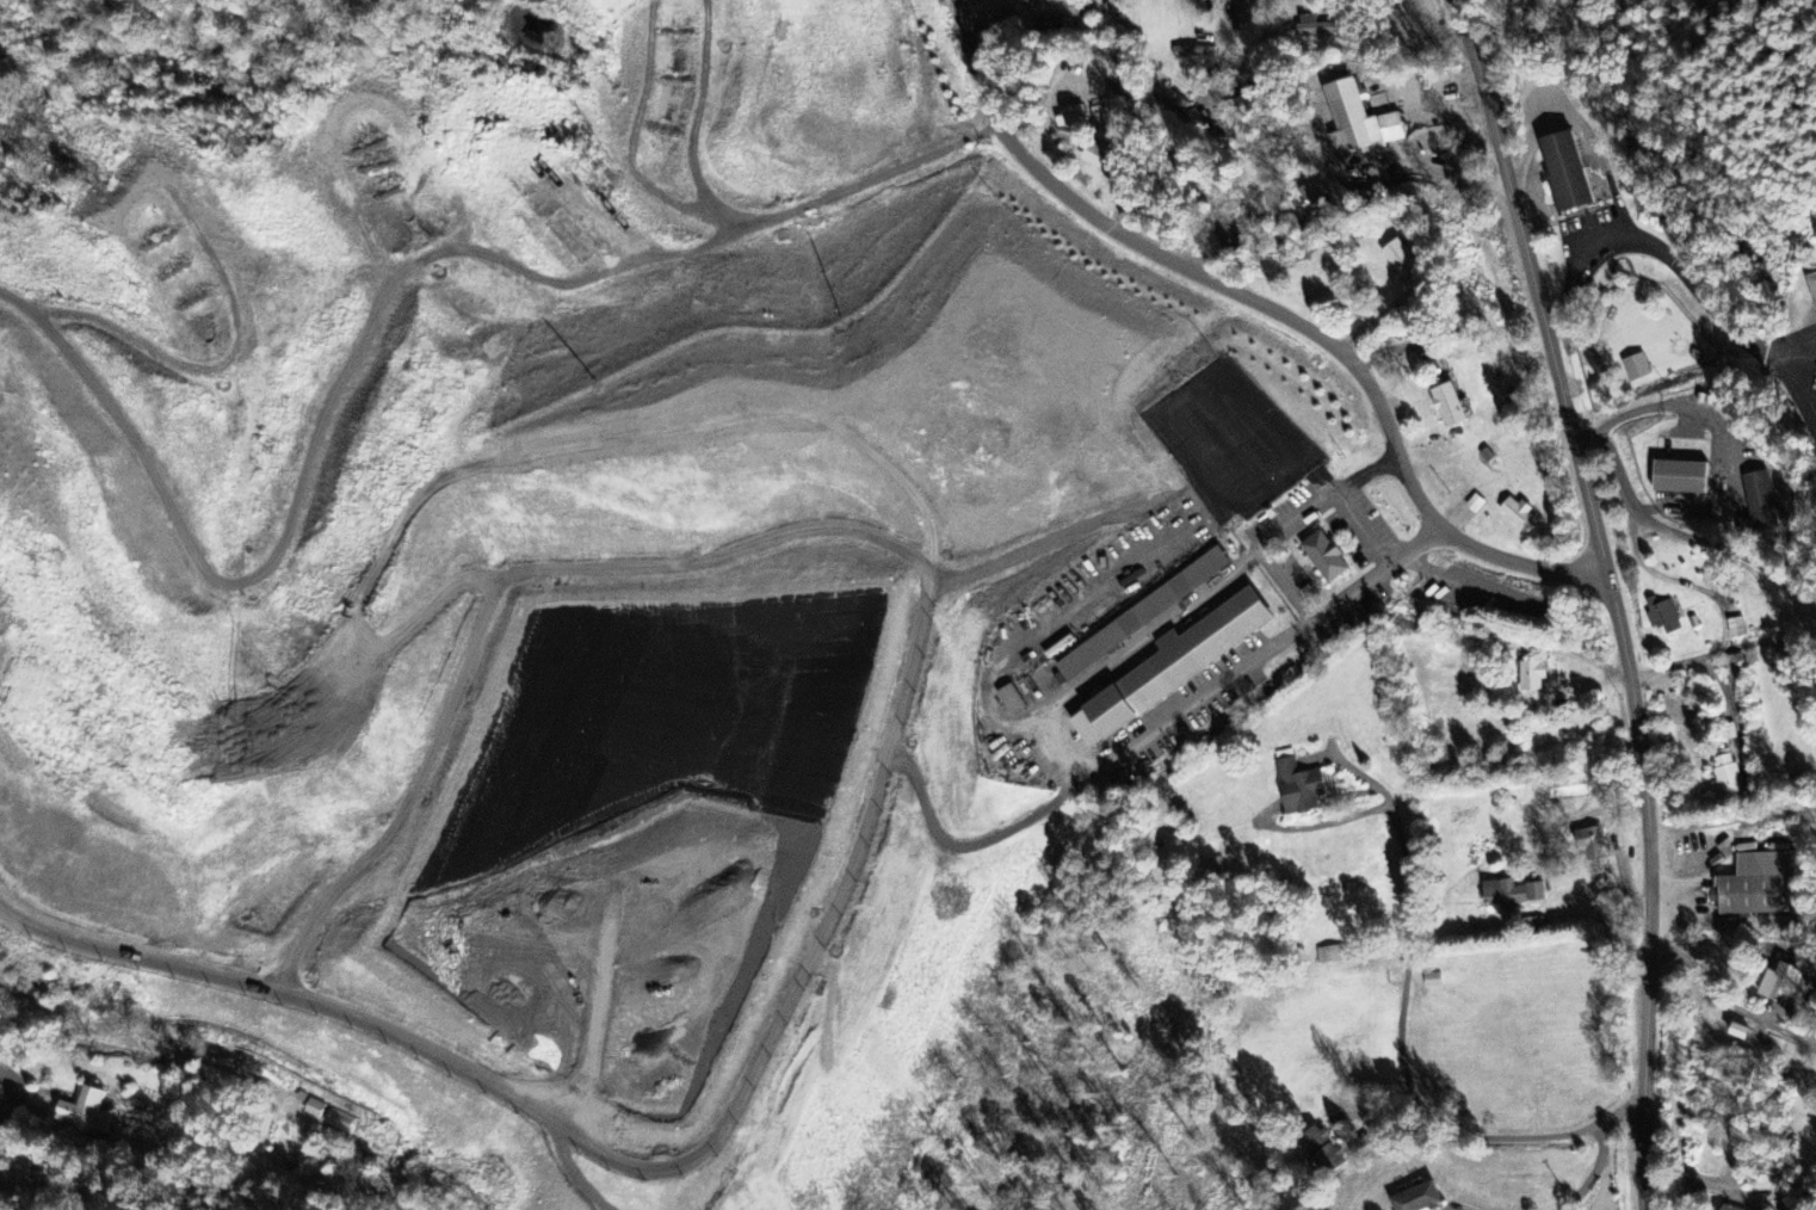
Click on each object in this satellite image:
building: (1222, 1)
building: (1113, 11)
building: (1317, 27)
road: (1228, 42)
building: (1204, 55)
road: (1373, 99)
building: (1070, 118)
building: (1357, 121)
building: (1101, 160)
building: (1567, 174)
building: (1312, 193)
building: (1398, 259)
building: (1812, 291)
road: (1268, 307)
building: (1635, 369)
building: (1449, 407)
building: (1680, 479)
building: (1760, 502)
building: (1475, 506)
building: (1518, 516)
building: (1324, 558)
road: (1610, 597)
building: (1142, 616)
building: (1663, 617)
building: (1736, 629)
building: (1174, 667)
building: (1732, 669)
building: (1533, 678)
building: (1011, 702)
building: (1725, 776)
building: (1299, 789)
building: (1567, 790)
building: (1592, 844)
building: (1212, 868)
building: (1754, 888)
building: (1511, 895)
building: (1329, 957)
building: (1784, 981)
building: (1432, 982)
building: (1738, 1032)
building: (86, 1109)
building: (313, 1109)
building: (338, 1123)
road: (1494, 1134)
building: (1321, 1150)
road: (1593, 1169)
building: (1416, 1198)
building: (1729, 1208)

